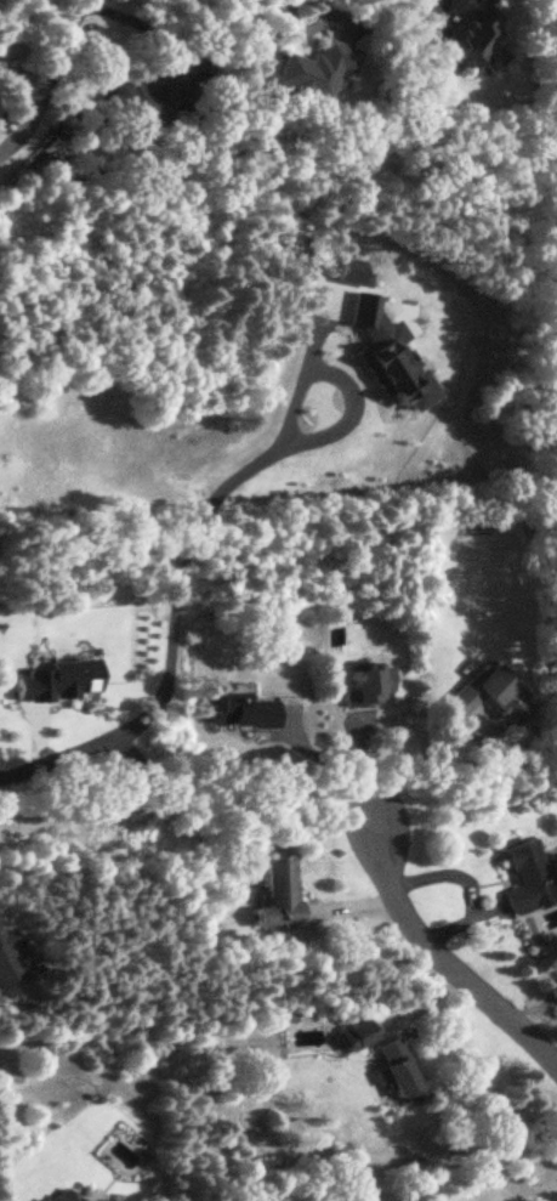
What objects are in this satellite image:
building: (473, 29)
building: (317, 69)
road: (22, 78)
road: (50, 81)
building: (153, 101)
building: (390, 364)
road: (176, 604)
building: (369, 684)
building: (488, 693)
building: (244, 710)
road: (333, 759)
road: (408, 760)
building: (528, 876)
building: (279, 895)
road: (442, 956)
building: (8, 958)
building: (398, 1070)
building: (64, 1196)
building: (42, 1200)

